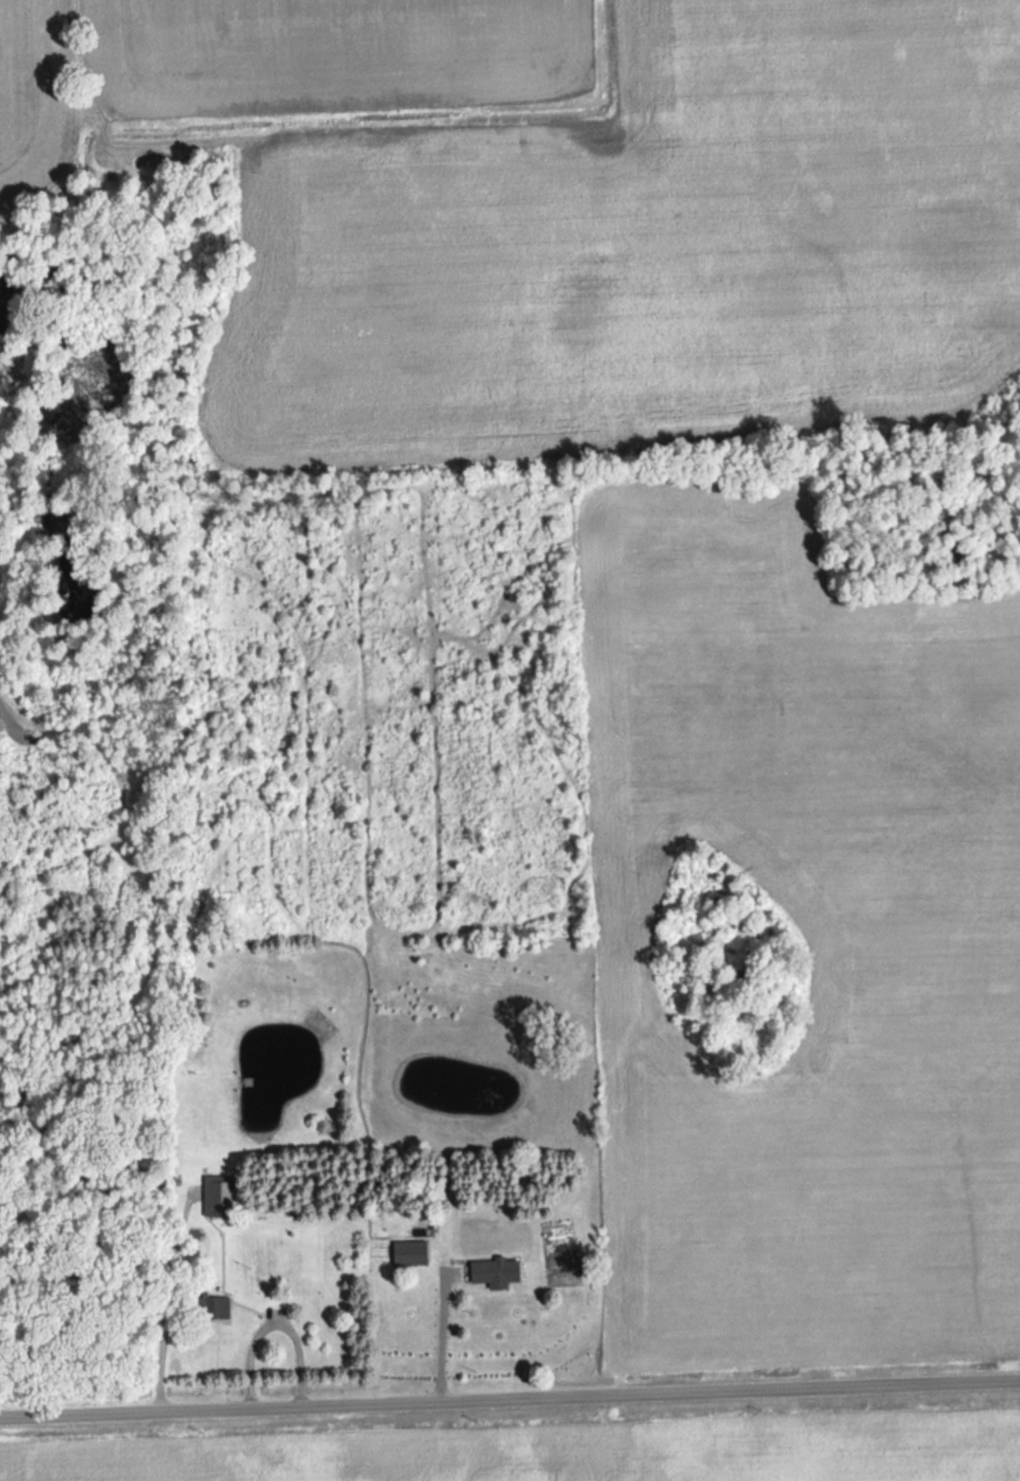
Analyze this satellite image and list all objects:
building: (222, 1195)
building: (415, 1253)
building: (500, 1271)
building: (215, 1305)
road: (510, 1396)

